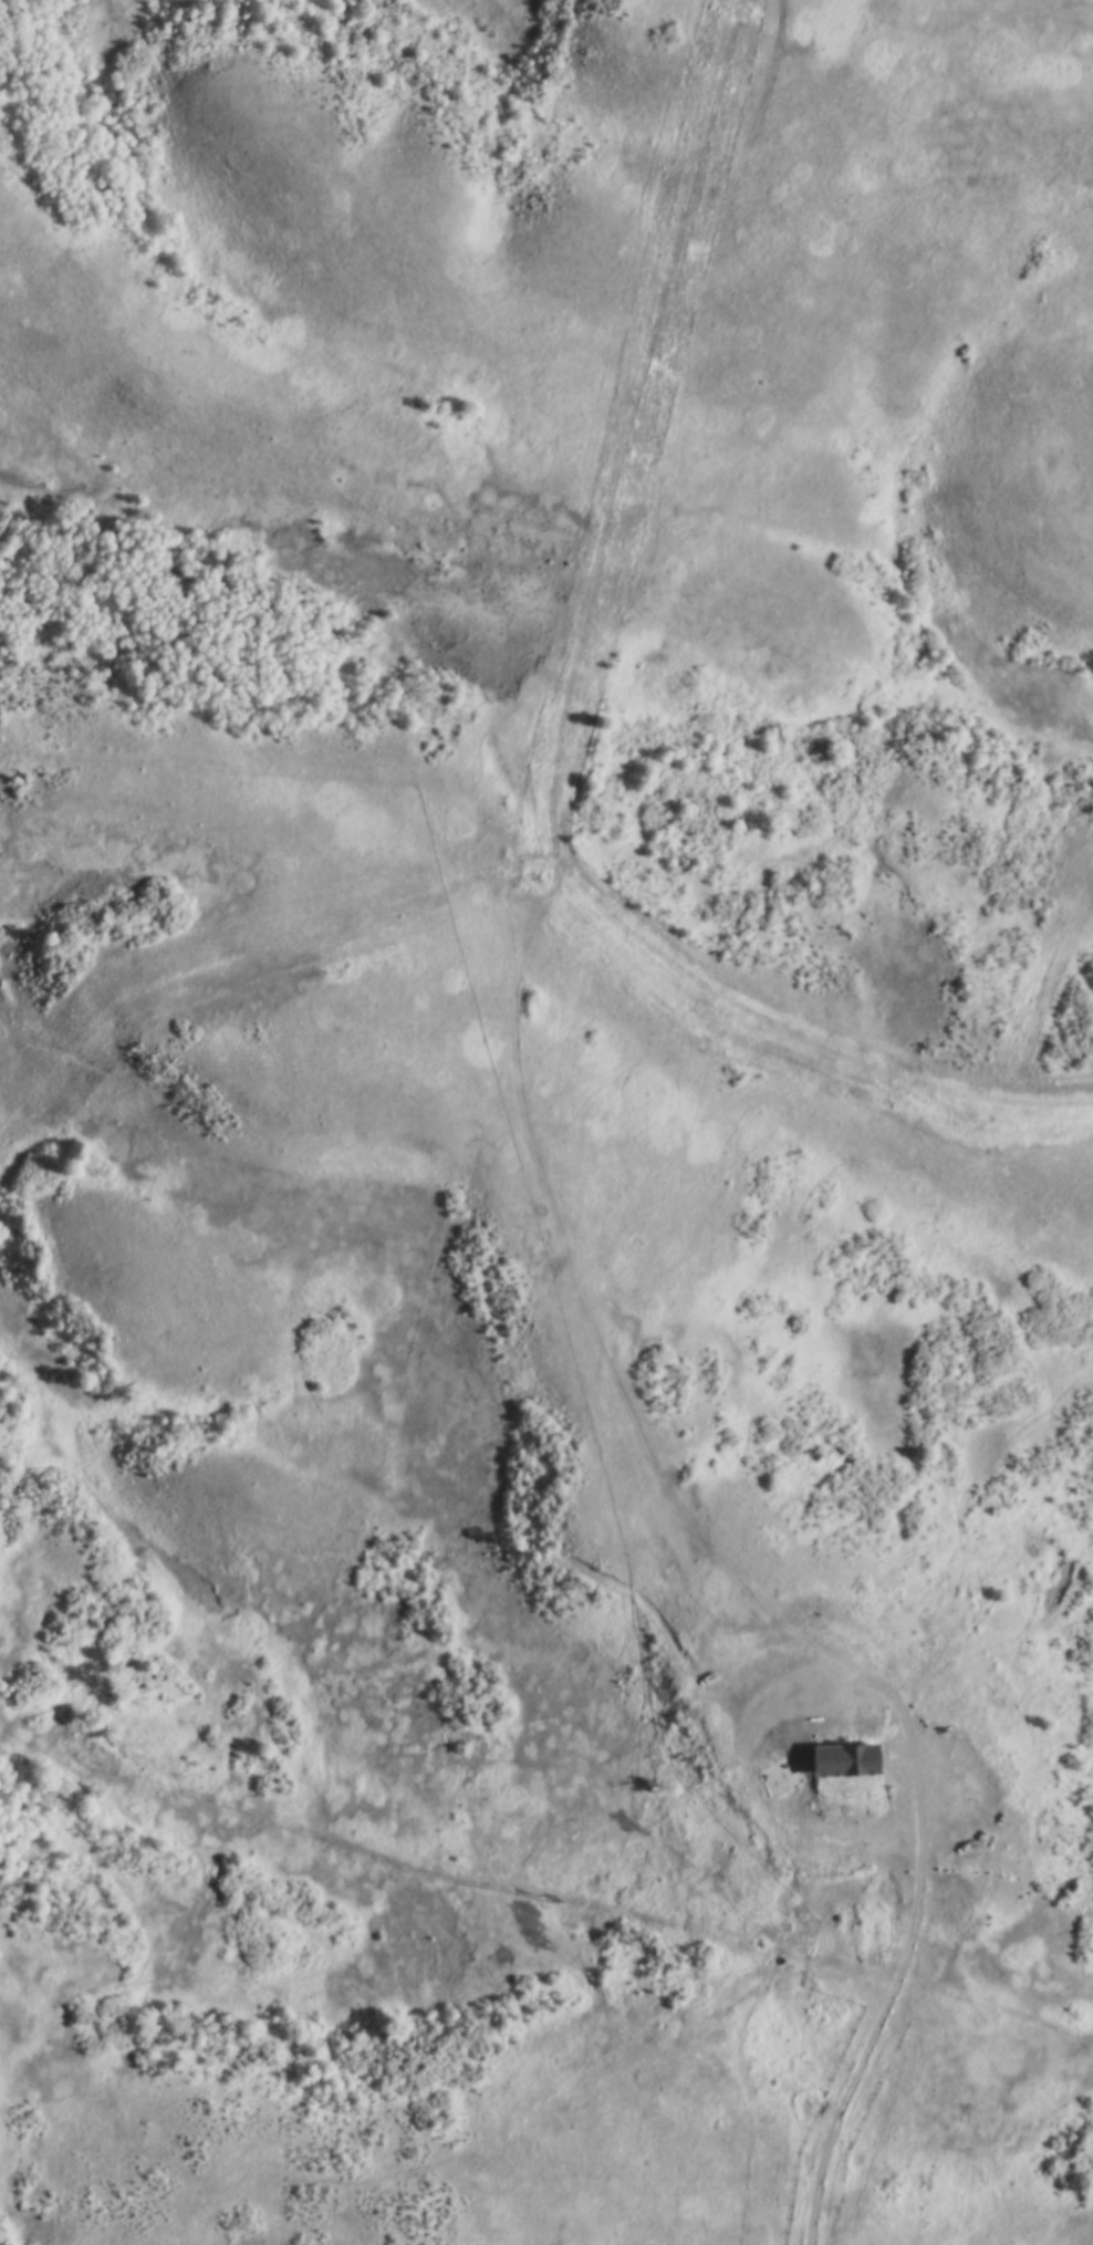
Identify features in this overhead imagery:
building: (844, 1755)

